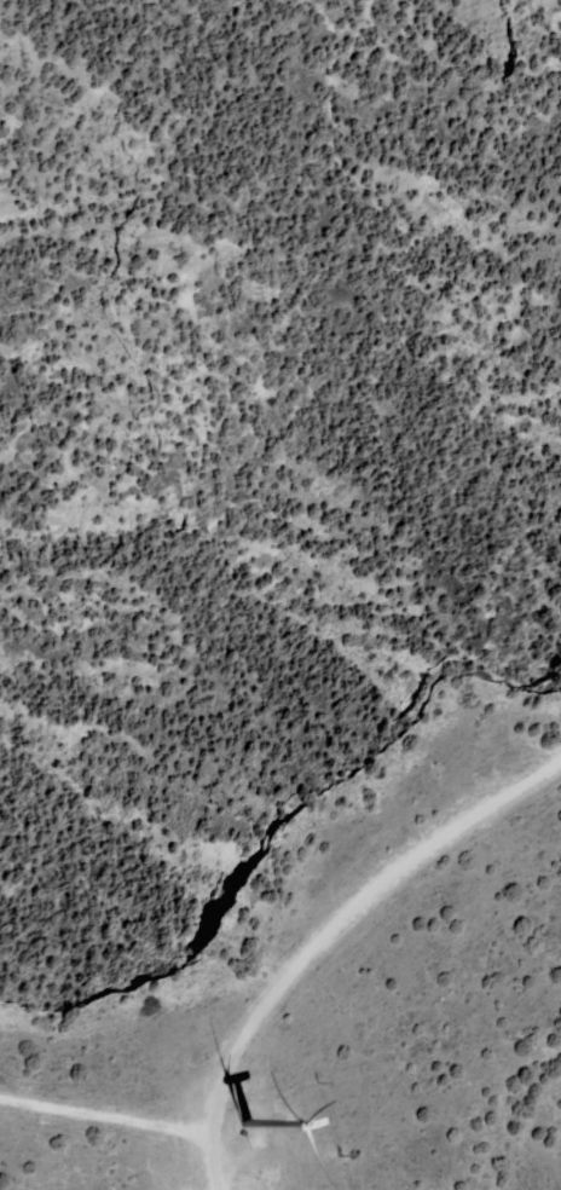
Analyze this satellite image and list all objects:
road: (348, 917)
road: (106, 1115)
wind turbine: (248, 1122)
road: (214, 1162)

